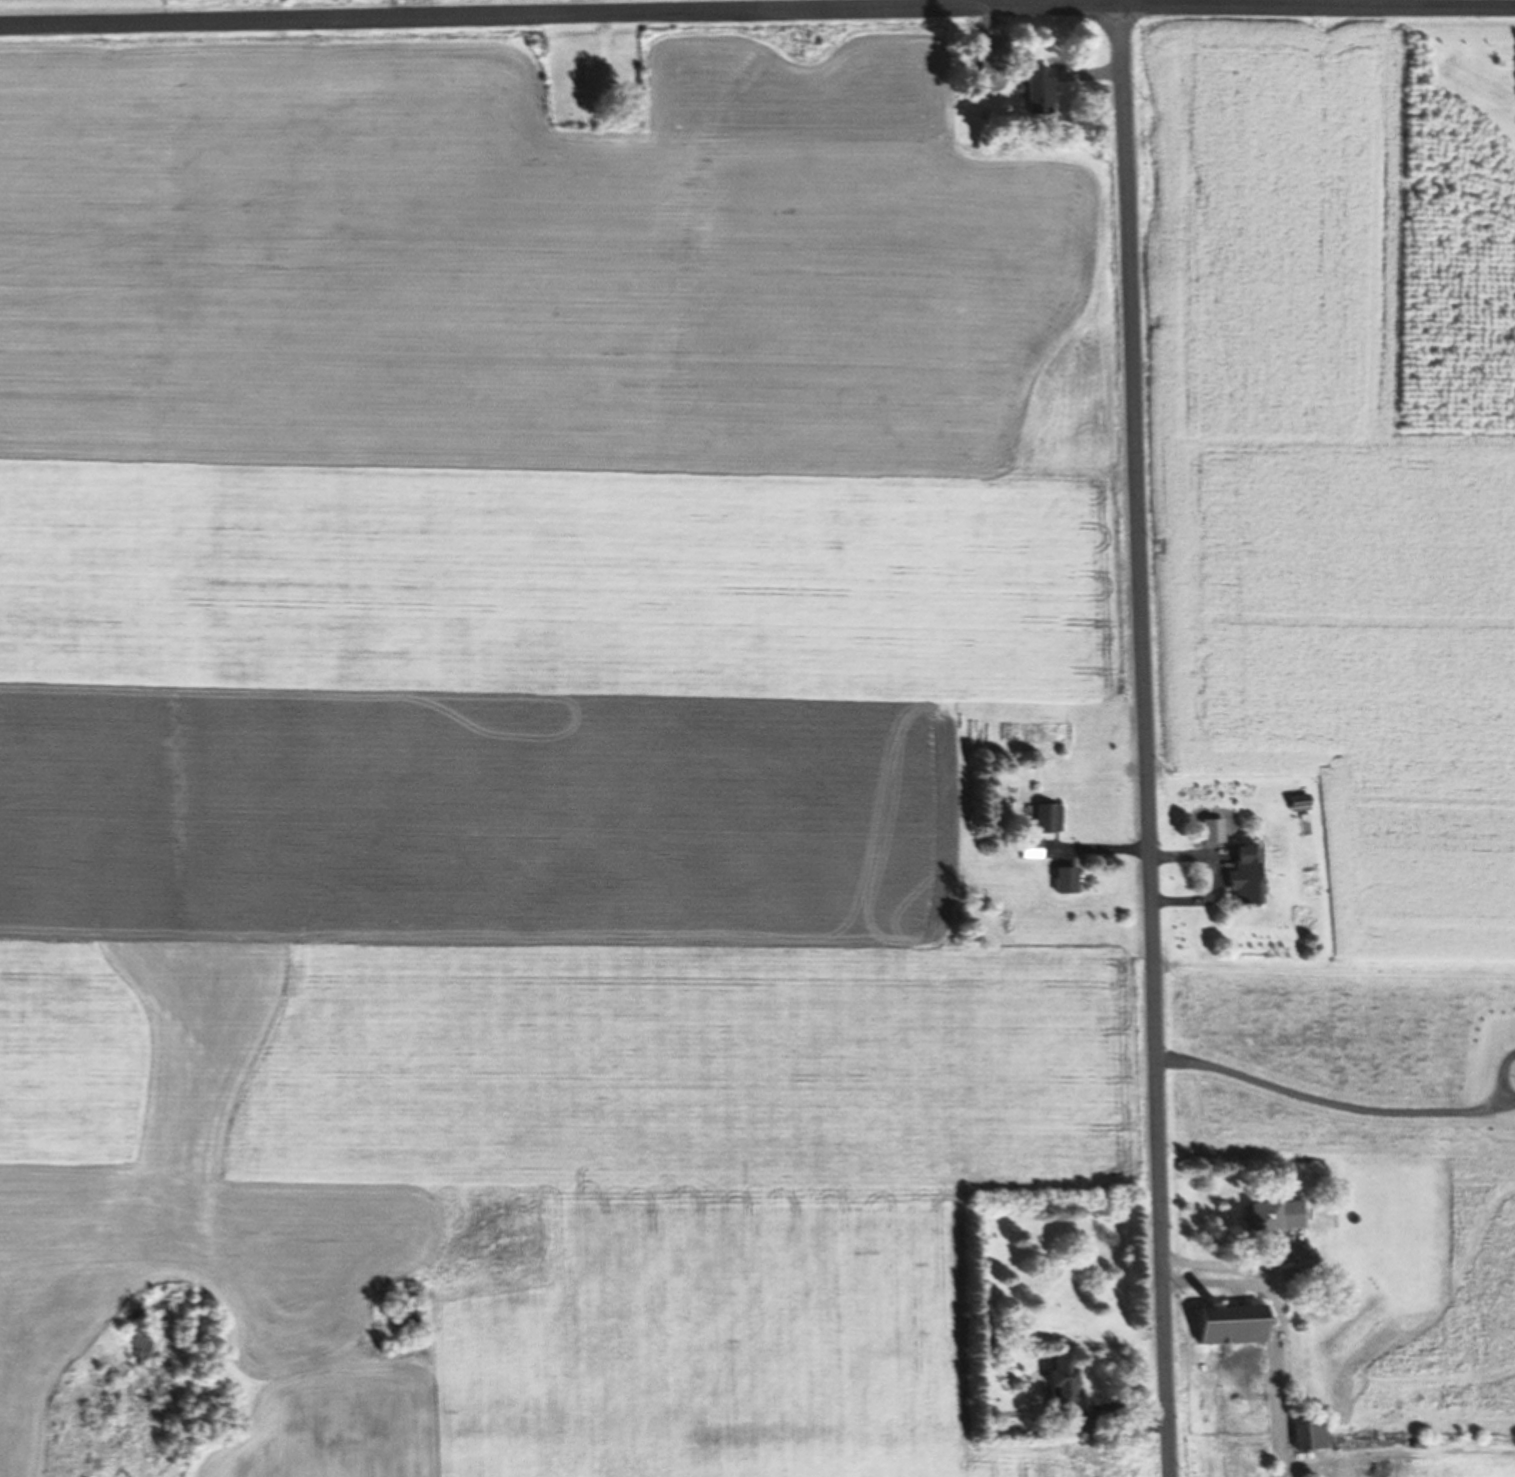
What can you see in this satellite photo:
road: (1119, 1)
road: (757, 8)
building: (995, 44)
building: (1039, 89)
road: (1143, 740)
building: (1046, 818)
building: (1029, 848)
building: (1244, 874)
building: (1064, 880)
building: (1274, 1215)
building: (1231, 1324)
building: (1061, 1381)
building: (1076, 1423)
building: (1308, 1434)

